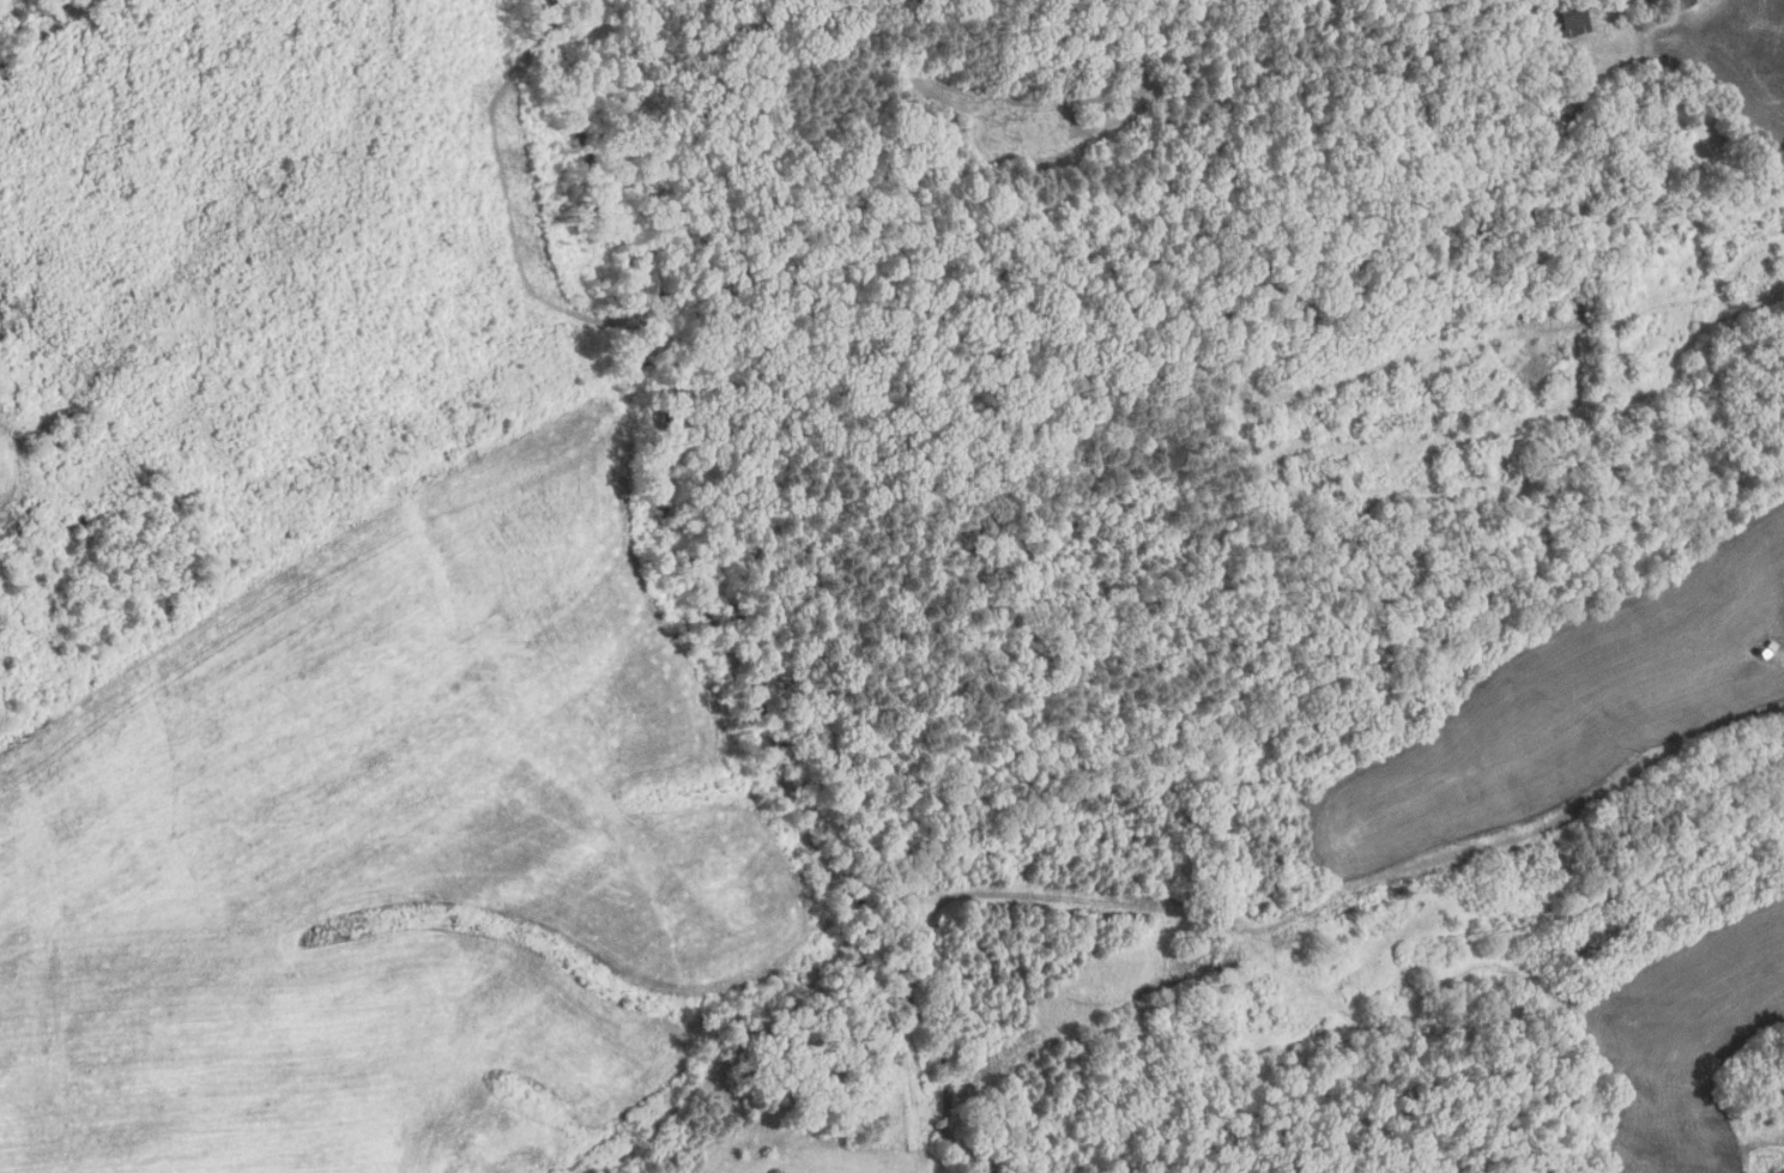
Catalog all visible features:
building: (1673, 5)
building: (1568, 18)
building: (1770, 645)

